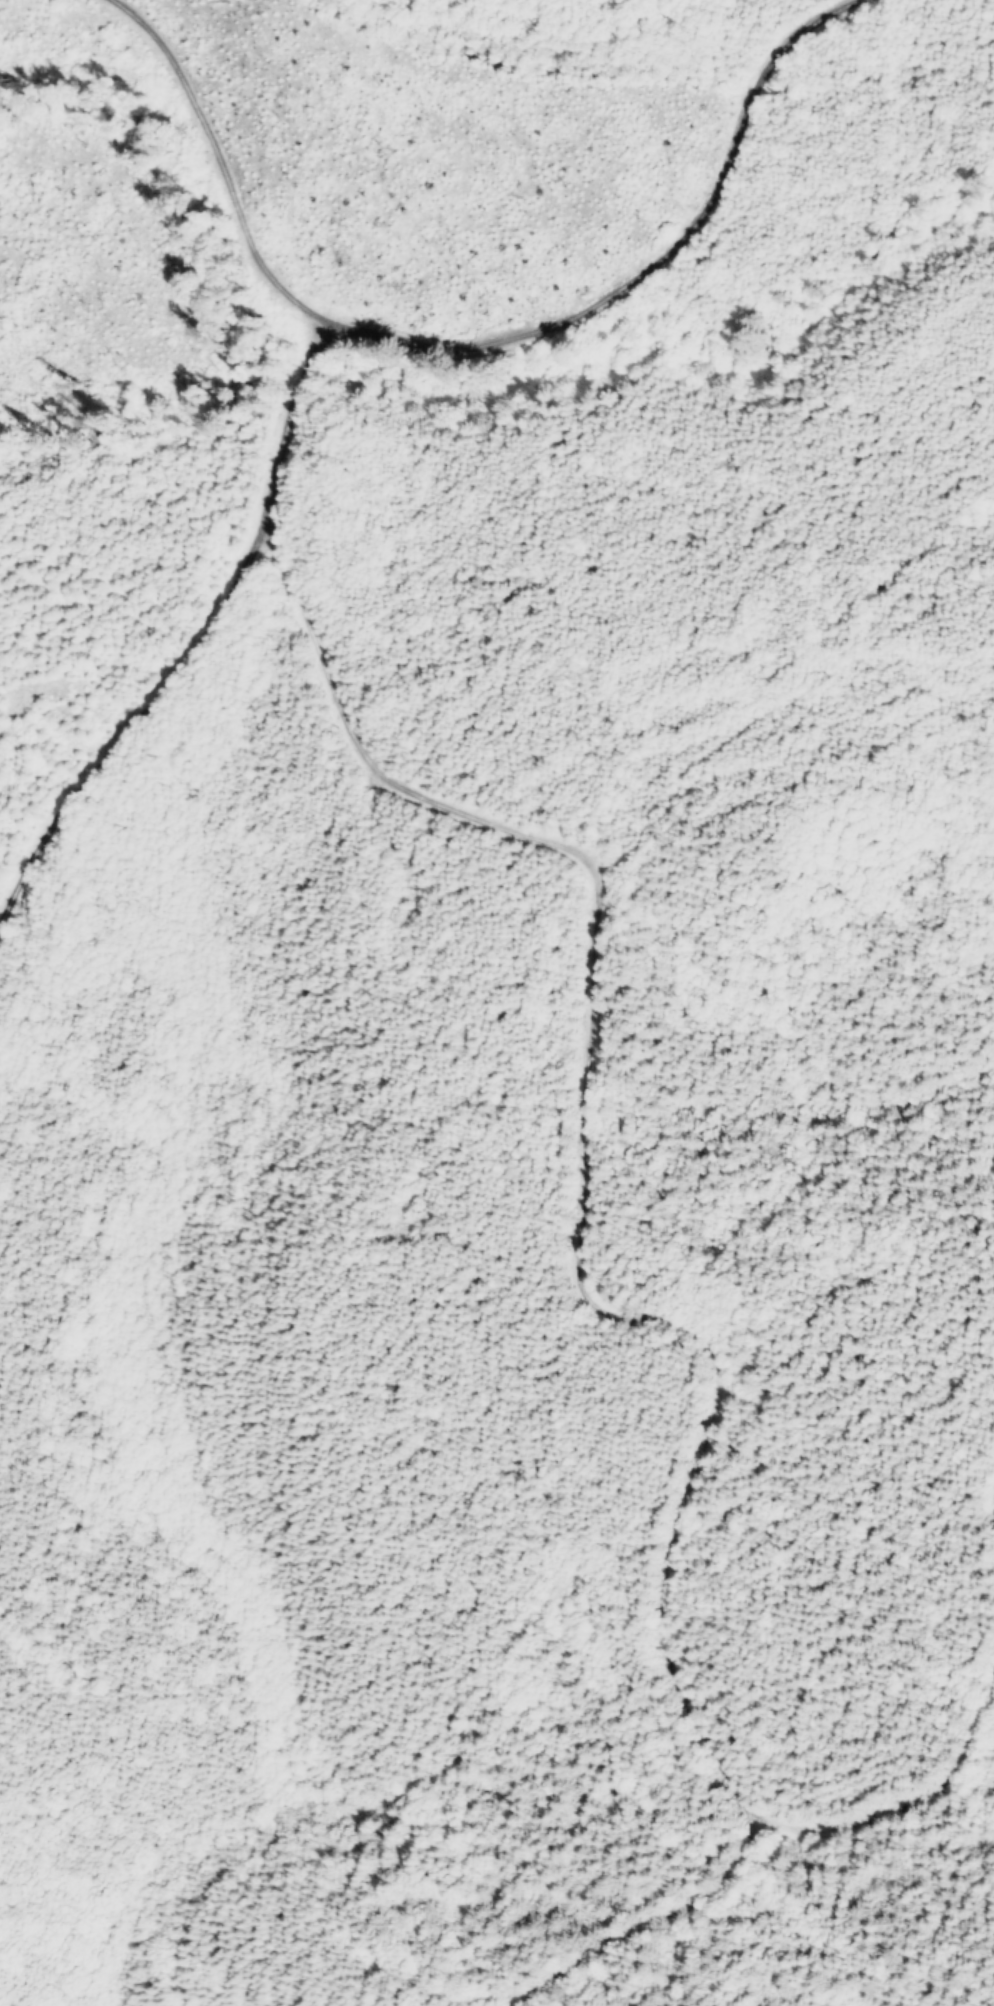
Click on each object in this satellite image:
road: (270, 161)
road: (531, 334)

